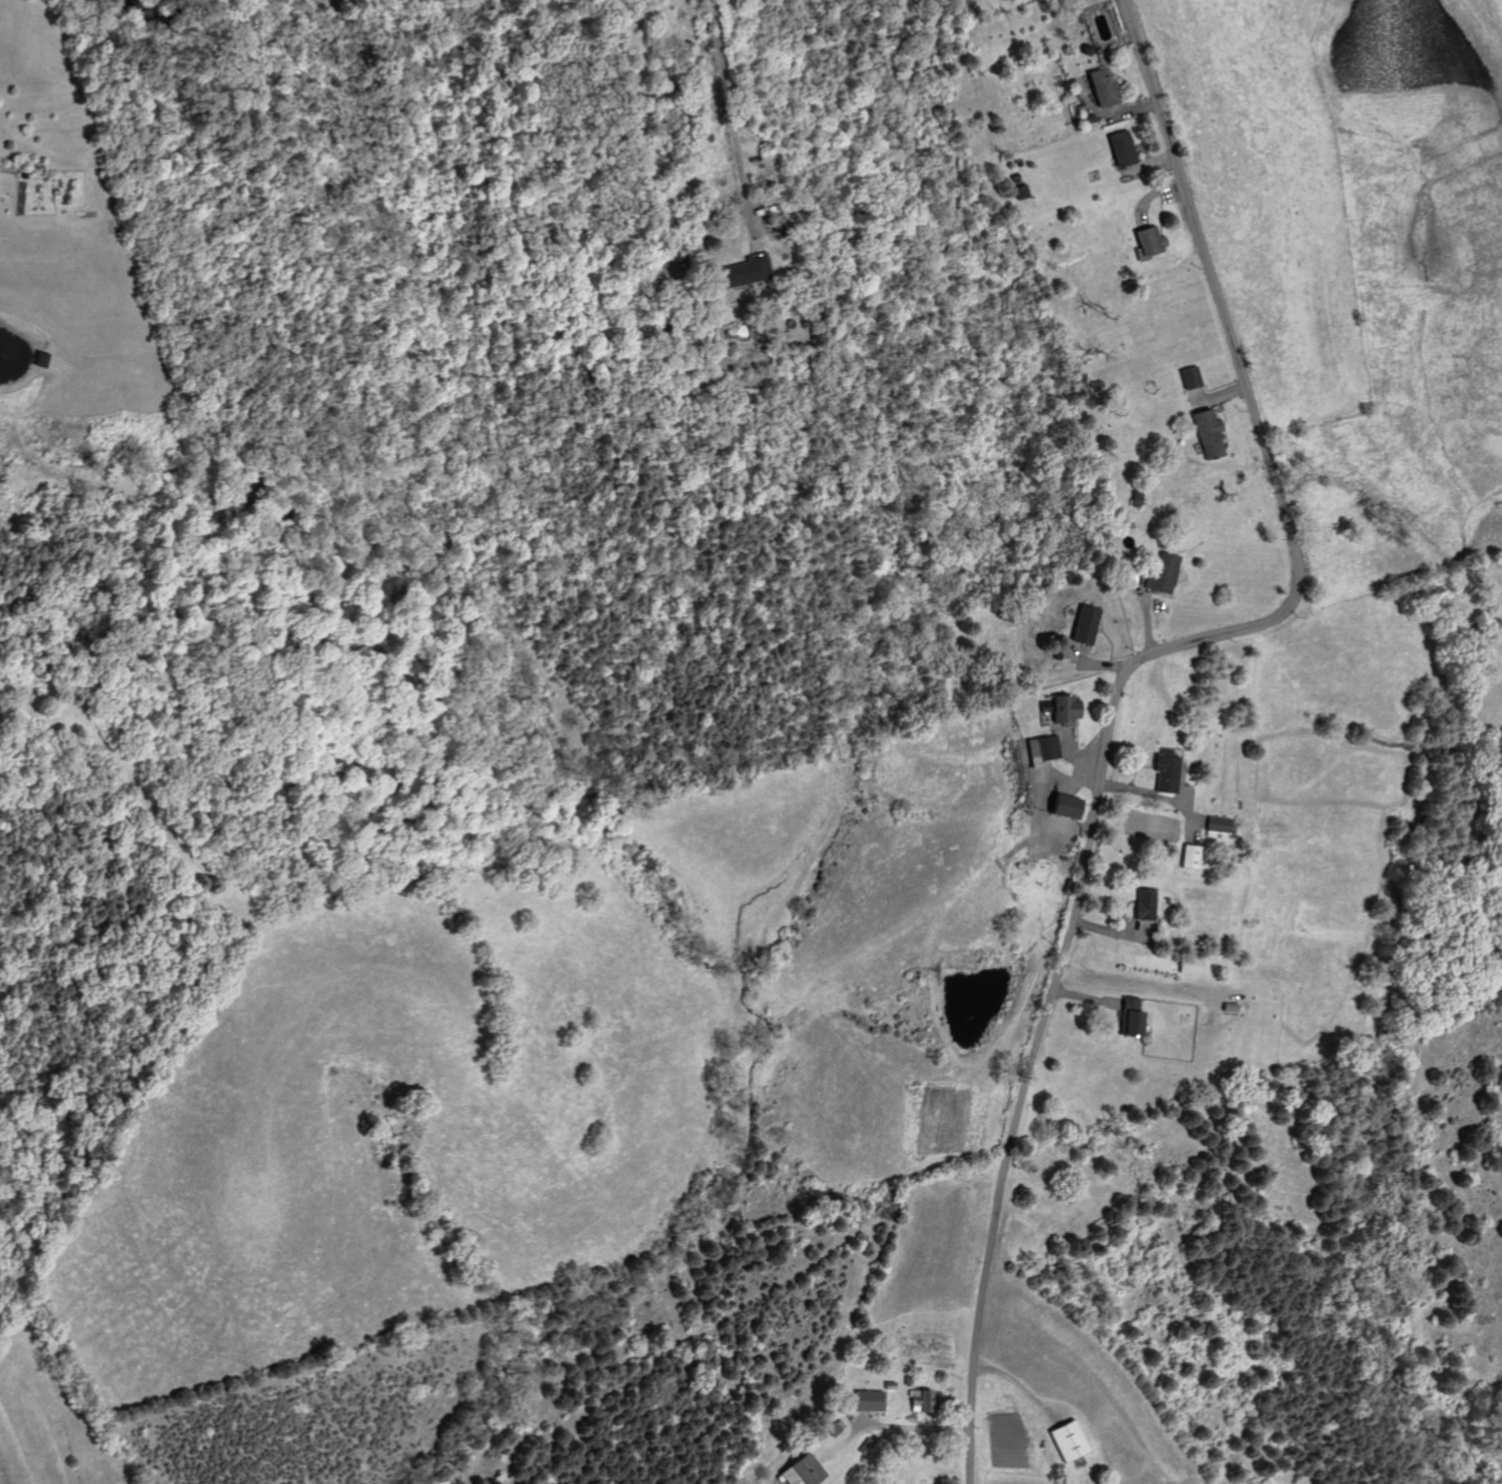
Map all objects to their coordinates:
building: (1100, 86)
road: (730, 105)
building: (1118, 148)
building: (1021, 191)
building: (1147, 239)
building: (744, 270)
building: (37, 358)
building: (1188, 377)
building: (1206, 433)
building: (1161, 574)
building: (1080, 624)
road: (1120, 678)
building: (1061, 709)
building: (1039, 750)
building: (1164, 771)
road: (1152, 794)
building: (1062, 807)
building: (1217, 825)
building: (1190, 857)
building: (1143, 904)
building: (1129, 1017)
building: (865, 1401)
building: (915, 1401)
building: (831, 1427)
building: (1066, 1441)
building: (795, 1471)

